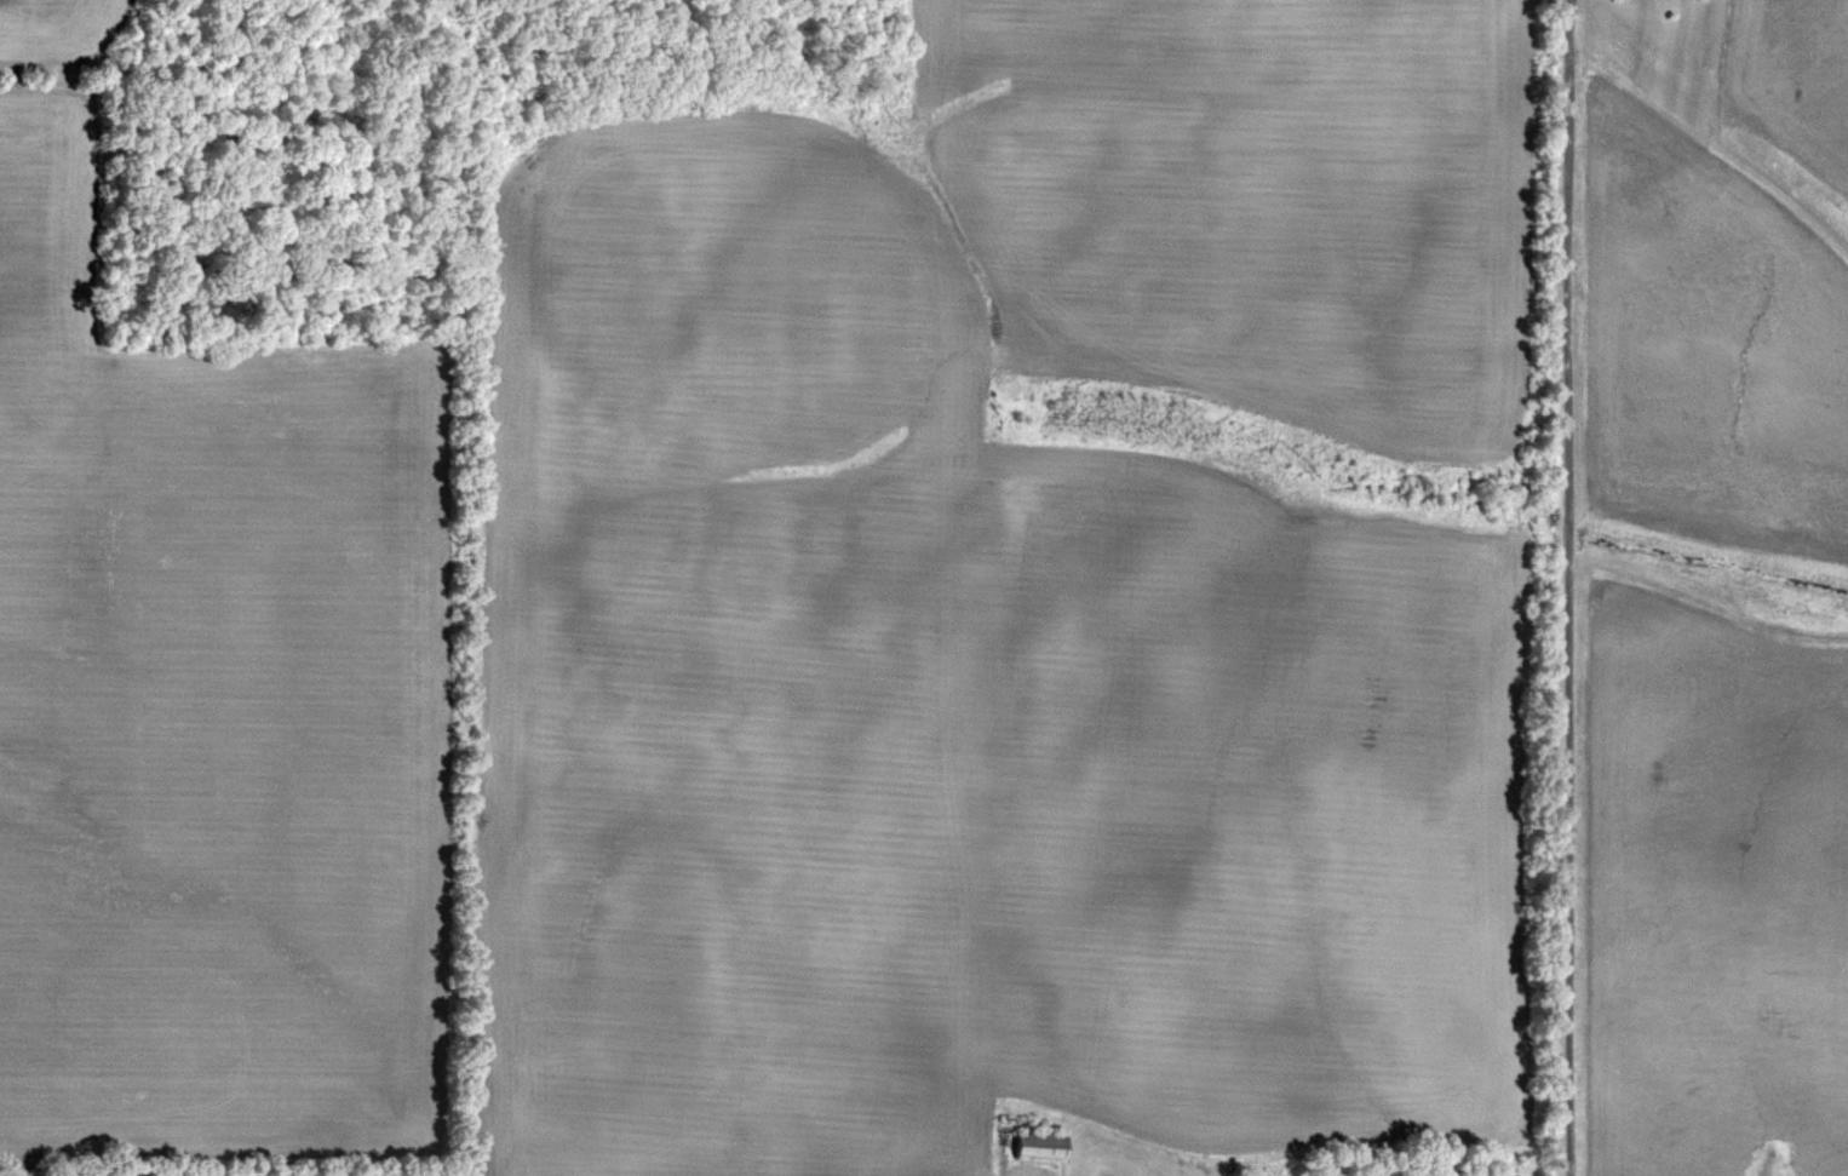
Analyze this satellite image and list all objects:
road: (1562, 587)
building: (1045, 1147)

